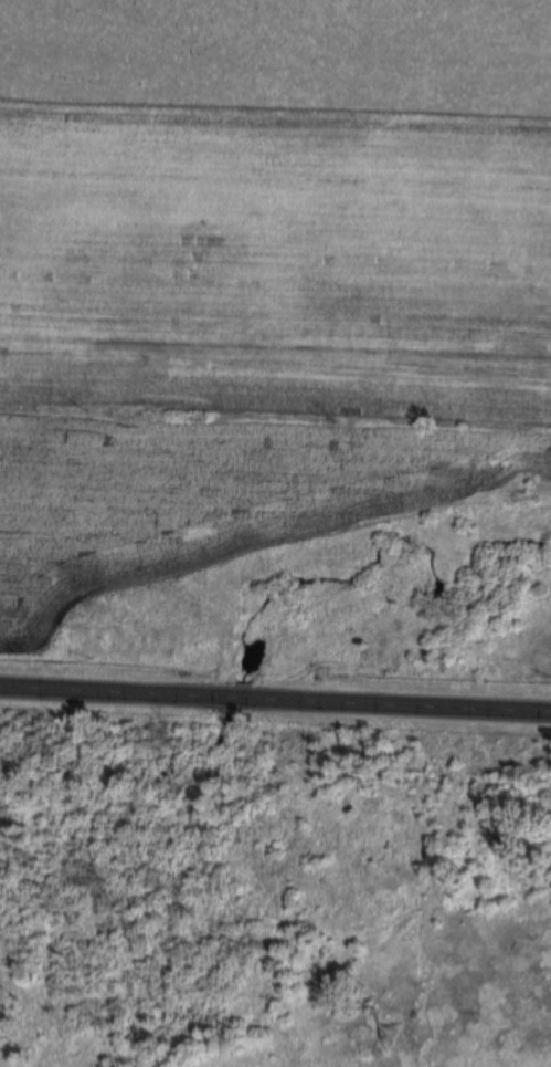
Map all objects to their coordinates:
road: (275, 674)

